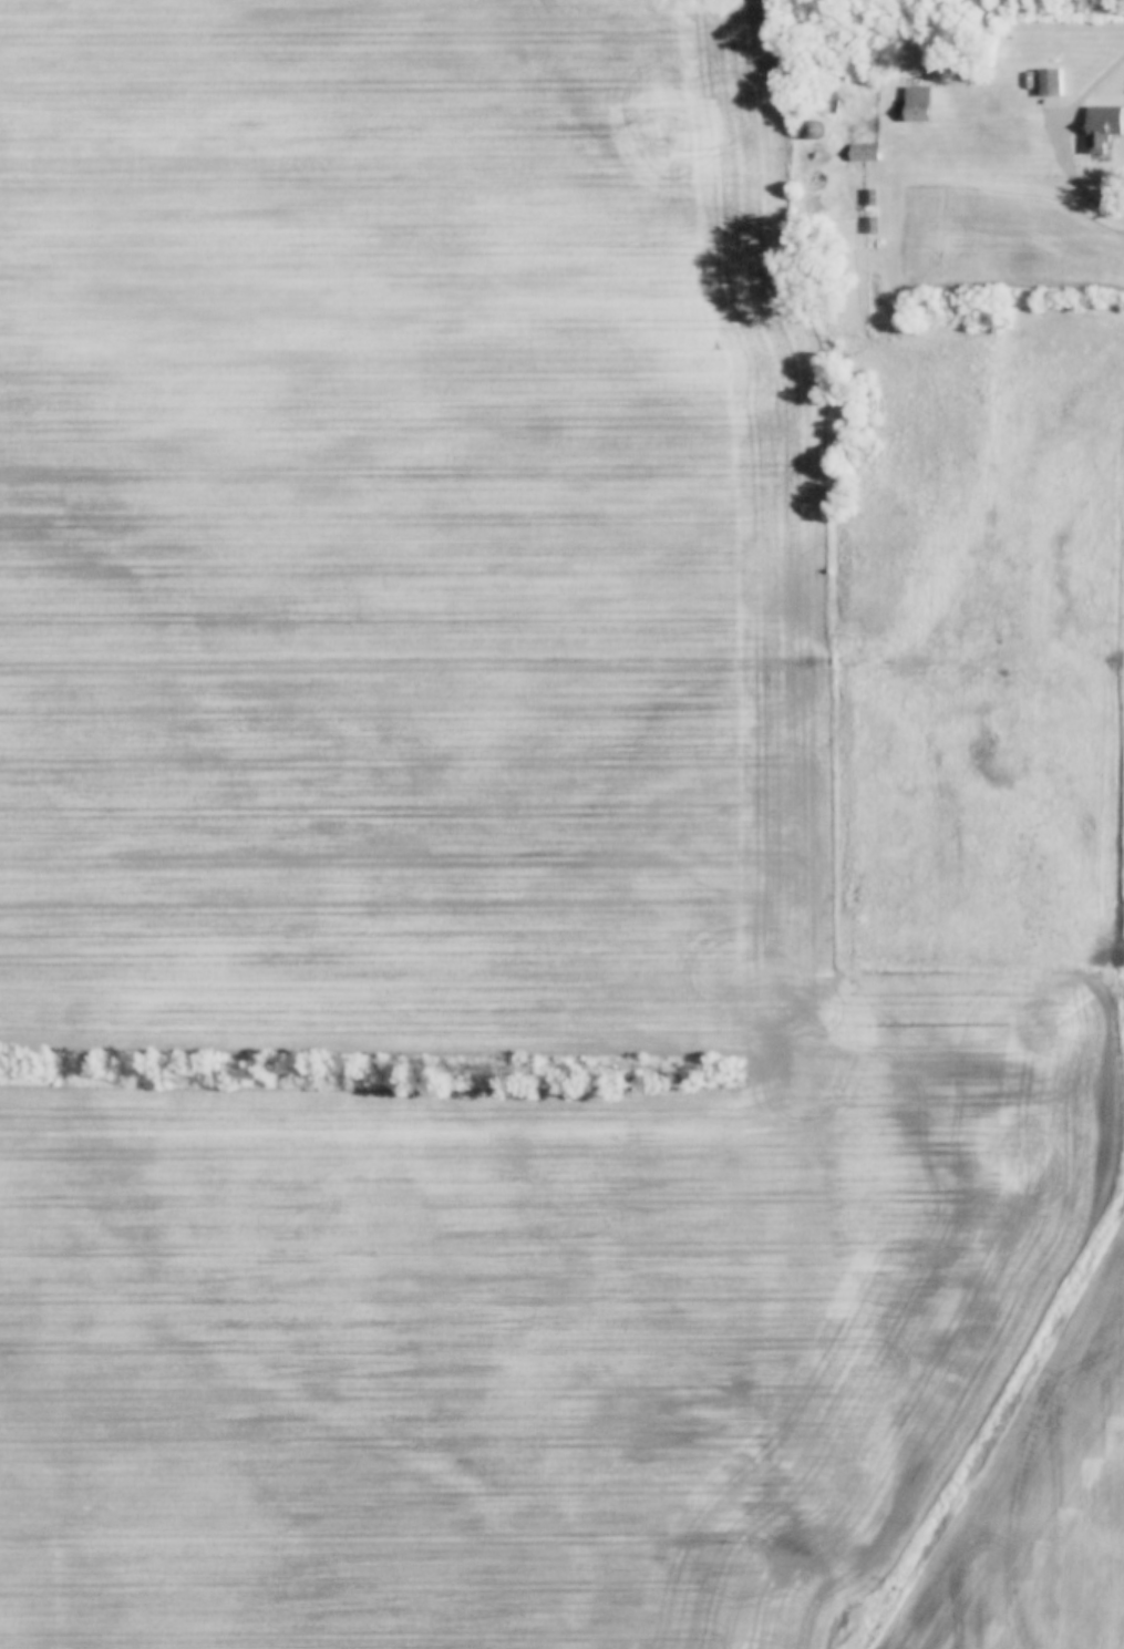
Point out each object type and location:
building: (1051, 83)
building: (822, 101)
building: (919, 105)
building: (814, 131)
building: (1097, 140)
road: (1068, 142)
building: (865, 154)
building: (870, 198)
building: (872, 226)

